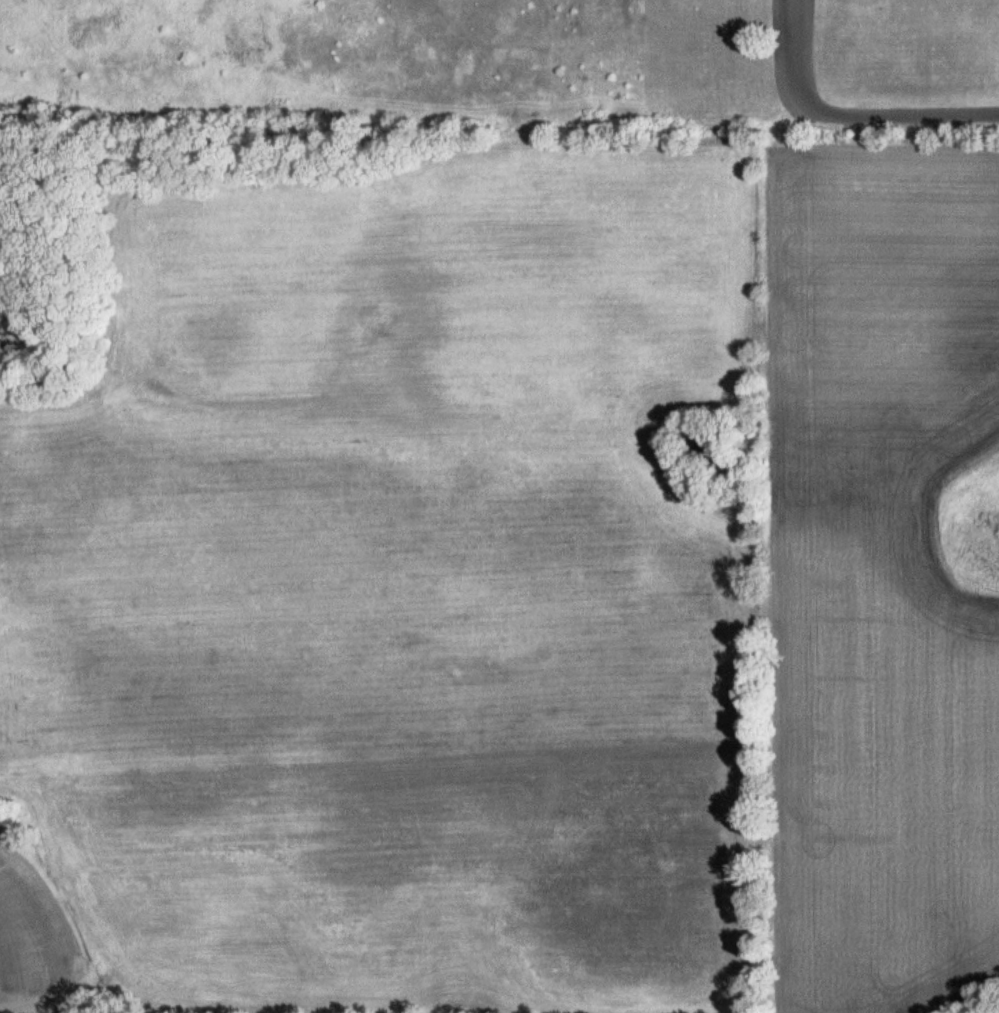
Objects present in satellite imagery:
road: (844, 118)

